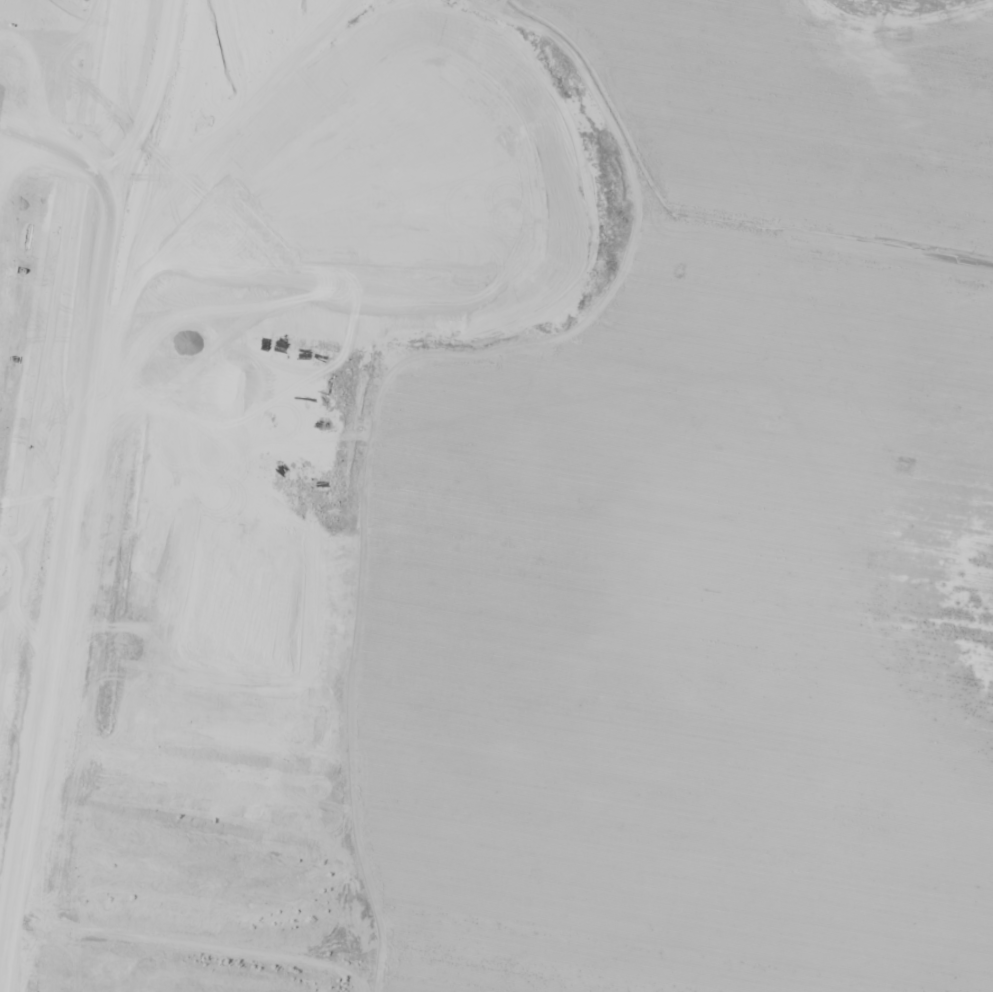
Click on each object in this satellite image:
landfill: (496, 496)
road: (73, 500)

